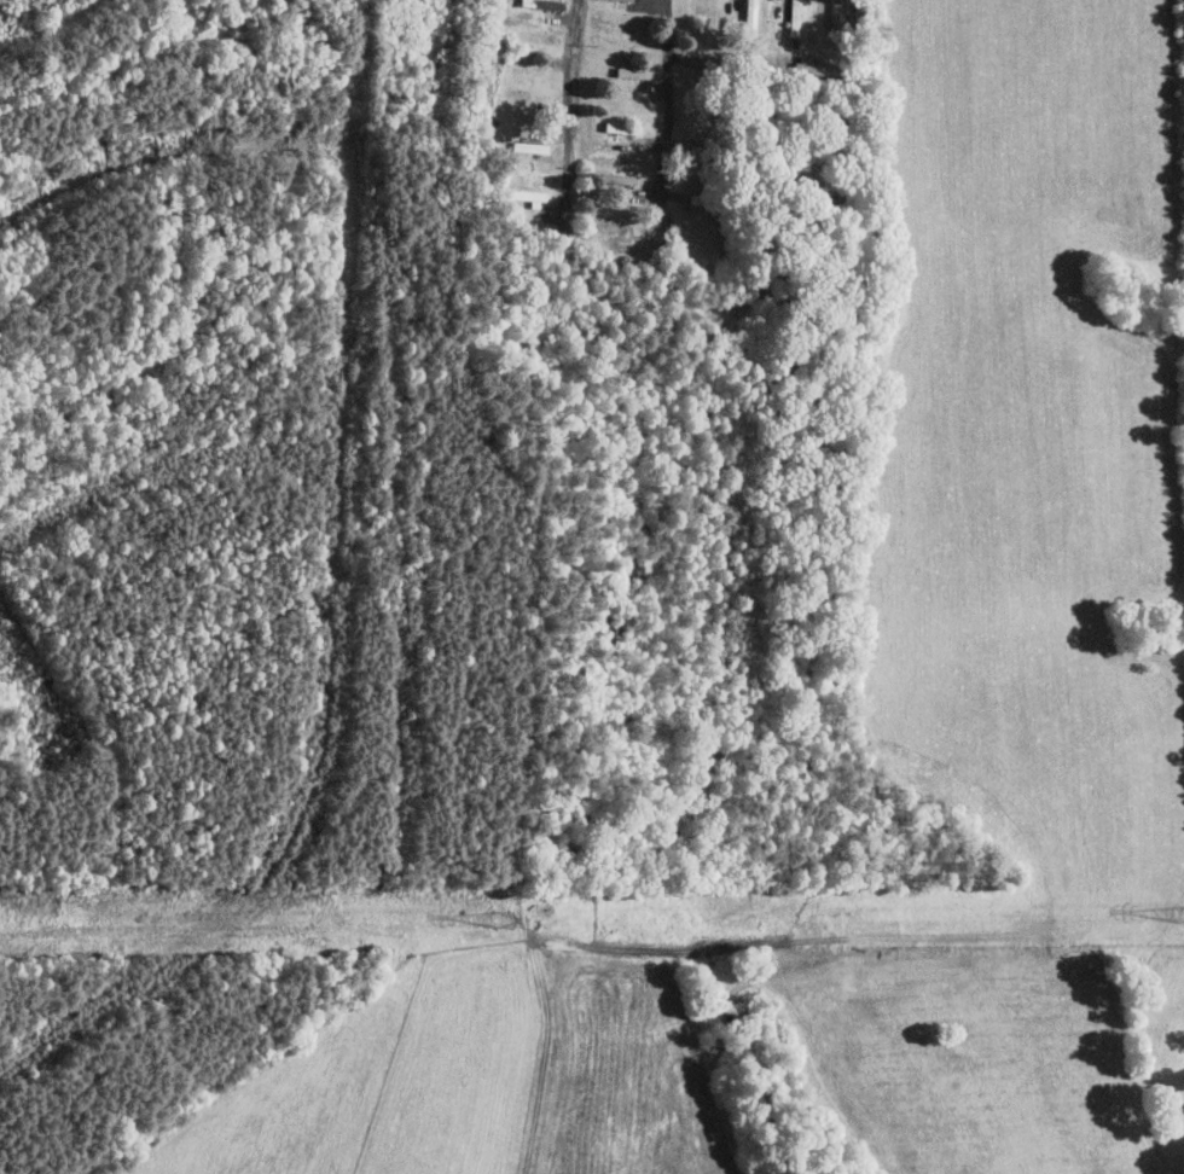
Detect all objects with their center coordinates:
building: (625, 0)
building: (748, 18)
building: (793, 18)
building: (808, 68)
road: (571, 117)
road: (666, 122)
building: (527, 197)
building: (615, 231)
power tower: (476, 920)

